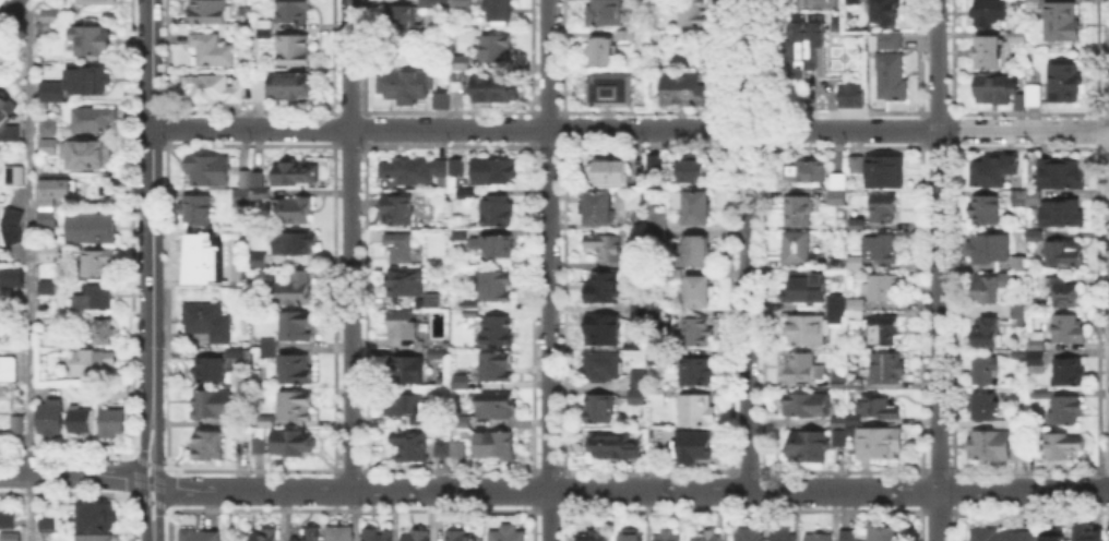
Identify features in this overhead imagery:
building: (104, 2)
building: (856, 2)
building: (431, 3)
building: (465, 4)
road: (5, 8)
building: (295, 11)
building: (211, 12)
building: (696, 12)
building: (887, 12)
building: (990, 12)
building: (501, 13)
building: (606, 13)
building: (51, 15)
building: (839, 23)
building: (1064, 23)
building: (402, 24)
building: (266, 29)
building: (45, 31)
building: (1022, 34)
building: (628, 37)
building: (890, 40)
building: (95, 41)
building: (498, 49)
building: (811, 49)
building: (213, 50)
building: (296, 51)
building: (604, 52)
building: (993, 53)
road: (728, 58)
road: (762, 58)
building: (466, 64)
building: (893, 79)
building: (88, 81)
building: (1066, 84)
building: (285, 86)
building: (406, 86)
building: (51, 88)
building: (498, 88)
building: (212, 89)
building: (687, 89)
building: (611, 92)
building: (1012, 93)
building: (852, 97)
building: (458, 100)
building: (441, 101)
building: (92, 117)
building: (8, 121)
building: (50, 125)
road: (630, 128)
road: (729, 128)
road: (762, 128)
building: (49, 147)
building: (90, 156)
building: (657, 164)
building: (420, 170)
building: (689, 170)
building: (808, 170)
building: (880, 170)
building: (995, 170)
building: (207, 171)
building: (496, 171)
building: (610, 171)
building: (12, 172)
building: (299, 175)
building: (1061, 175)
building: (252, 178)
building: (840, 183)
building: (59, 192)
building: (263, 194)
building: (468, 194)
building: (242, 196)
building: (838, 197)
building: (1027, 197)
road: (152, 205)
building: (884, 208)
building: (600, 209)
building: (697, 209)
building: (198, 211)
building: (400, 211)
building: (985, 211)
building: (294, 212)
building: (800, 212)
building: (1064, 212)
building: (501, 213)
building: (859, 217)
building: (49, 219)
building: (10, 223)
building: (91, 226)
building: (659, 226)
building: (462, 232)
building: (1036, 236)
building: (296, 242)
road: (350, 244)
road: (748, 244)
building: (493, 245)
building: (605, 247)
building: (401, 249)
building: (800, 249)
building: (884, 249)
building: (991, 249)
building: (700, 251)
building: (51, 254)
building: (1063, 254)
building: (202, 259)
building: (261, 261)
building: (102, 262)
building: (856, 262)
building: (836, 263)
building: (1019, 265)
road: (29, 267)
road: (939, 269)
road: (549, 270)
building: (12, 277)
building: (406, 284)
building: (497, 287)
building: (991, 287)
building: (883, 288)
building: (50, 289)
building: (295, 289)
building: (808, 289)
building: (604, 290)
building: (1063, 291)
building: (700, 292)
building: (96, 298)
building: (432, 302)
road: (762, 308)
road: (729, 309)
building: (473, 310)
building: (640, 310)
building: (838, 310)
building: (858, 311)
building: (1018, 314)
building: (210, 322)
building: (403, 326)
building: (295, 327)
building: (808, 329)
building: (1069, 329)
building: (604, 330)
building: (694, 332)
building: (885, 332)
building: (106, 333)
building: (500, 333)
building: (987, 333)
building: (266, 346)
building: (272, 350)
building: (238, 352)
building: (1038, 353)
building: (439, 356)
building: (97, 362)
building: (658, 363)
building: (604, 366)
building: (496, 368)
building: (806, 369)
building: (886, 369)
building: (9, 370)
building: (297, 370)
building: (407, 371)
building: (1070, 371)
building: (213, 372)
building: (987, 372)
building: (699, 373)
building: (464, 376)
building: (641, 378)
building: (839, 382)
building: (857, 386)
building: (1042, 394)
building: (636, 398)
building: (659, 399)
building: (214, 405)
building: (497, 405)
building: (806, 406)
building: (298, 407)
building: (882, 407)
building: (986, 407)
building: (410, 408)
building: (601, 410)
building: (1066, 410)
building: (697, 411)
building: (855, 419)
building: (51, 420)
building: (82, 420)
building: (266, 420)
building: (839, 421)
building: (1002, 422)
building: (464, 423)
building: (114, 424)
building: (20, 425)
building: (850, 430)
road: (142, 435)
road: (157, 436)
building: (842, 438)
building: (293, 443)
building: (880, 443)
building: (210, 444)
building: (257, 444)
building: (497, 445)
building: (410, 446)
building: (615, 446)
building: (991, 446)
building: (1061, 446)
building: (693, 447)
building: (810, 447)
building: (451, 448)
building: (1022, 452)
road: (142, 471)
road: (71, 473)
road: (158, 473)
road: (150, 481)
road: (762, 482)
road: (730, 483)
road: (142, 491)
road: (633, 491)
road: (158, 492)
building: (96, 514)
building: (7, 518)
road: (157, 519)
road: (144, 520)
building: (47, 524)
building: (341, 533)
building: (509, 533)
building: (311, 534)
building: (380, 534)
building: (886, 534)
building: (1090, 534)
building: (202, 536)
building: (669, 536)
building: (750, 536)
building: (785, 536)
building: (1021, 536)
building: (266, 537)
building: (417, 537)
building: (463, 537)
building: (593, 537)
building: (631, 537)
building: (850, 537)
building: (12, 538)
building: (94, 538)
building: (707, 538)
building: (821, 538)
road: (154, 539)

